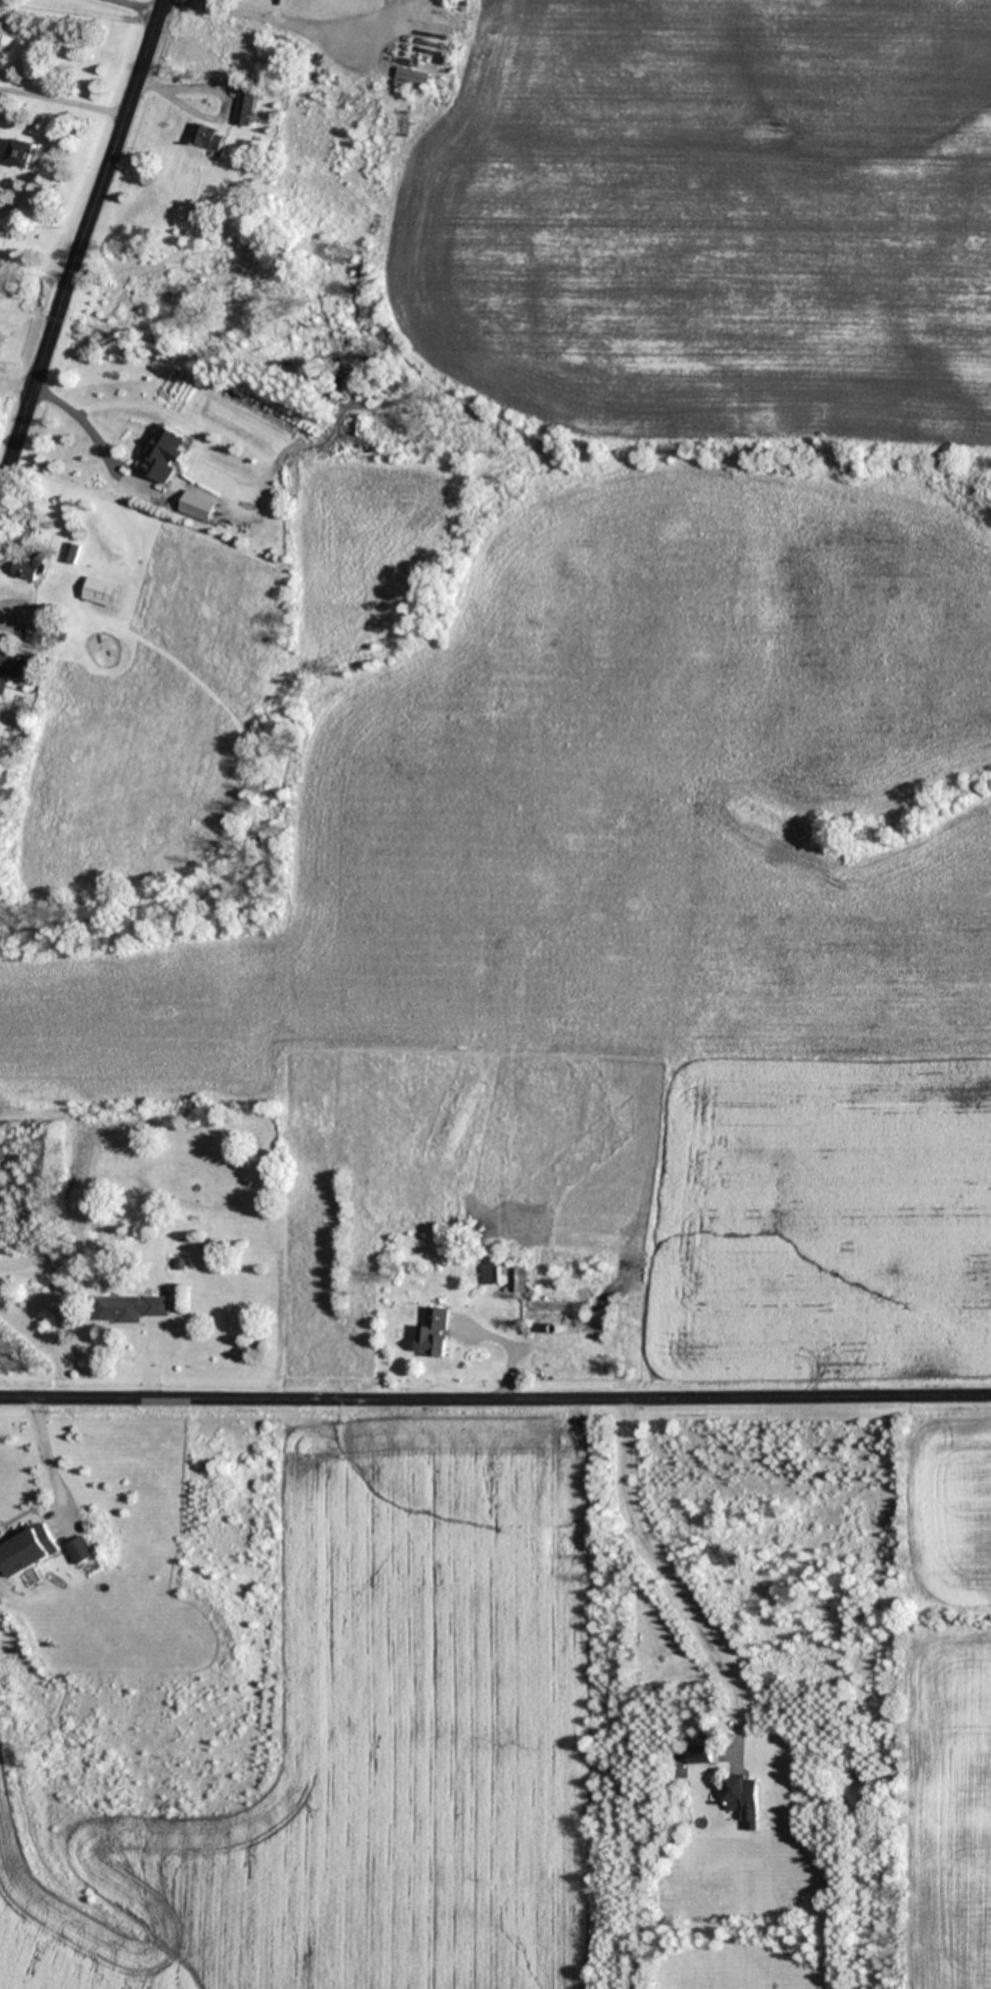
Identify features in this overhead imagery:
road: (144, 4)
road: (305, 24)
road: (63, 97)
building: (244, 108)
building: (209, 138)
building: (24, 154)
road: (82, 241)
road: (95, 430)
building: (168, 461)
building: (31, 567)
building: (102, 591)
building: (39, 632)
building: (3, 656)
building: (131, 1308)
building: (548, 1309)
building: (437, 1331)
road: (495, 1396)
building: (81, 1549)
building: (29, 1550)
building: (699, 1754)
building: (745, 1800)

